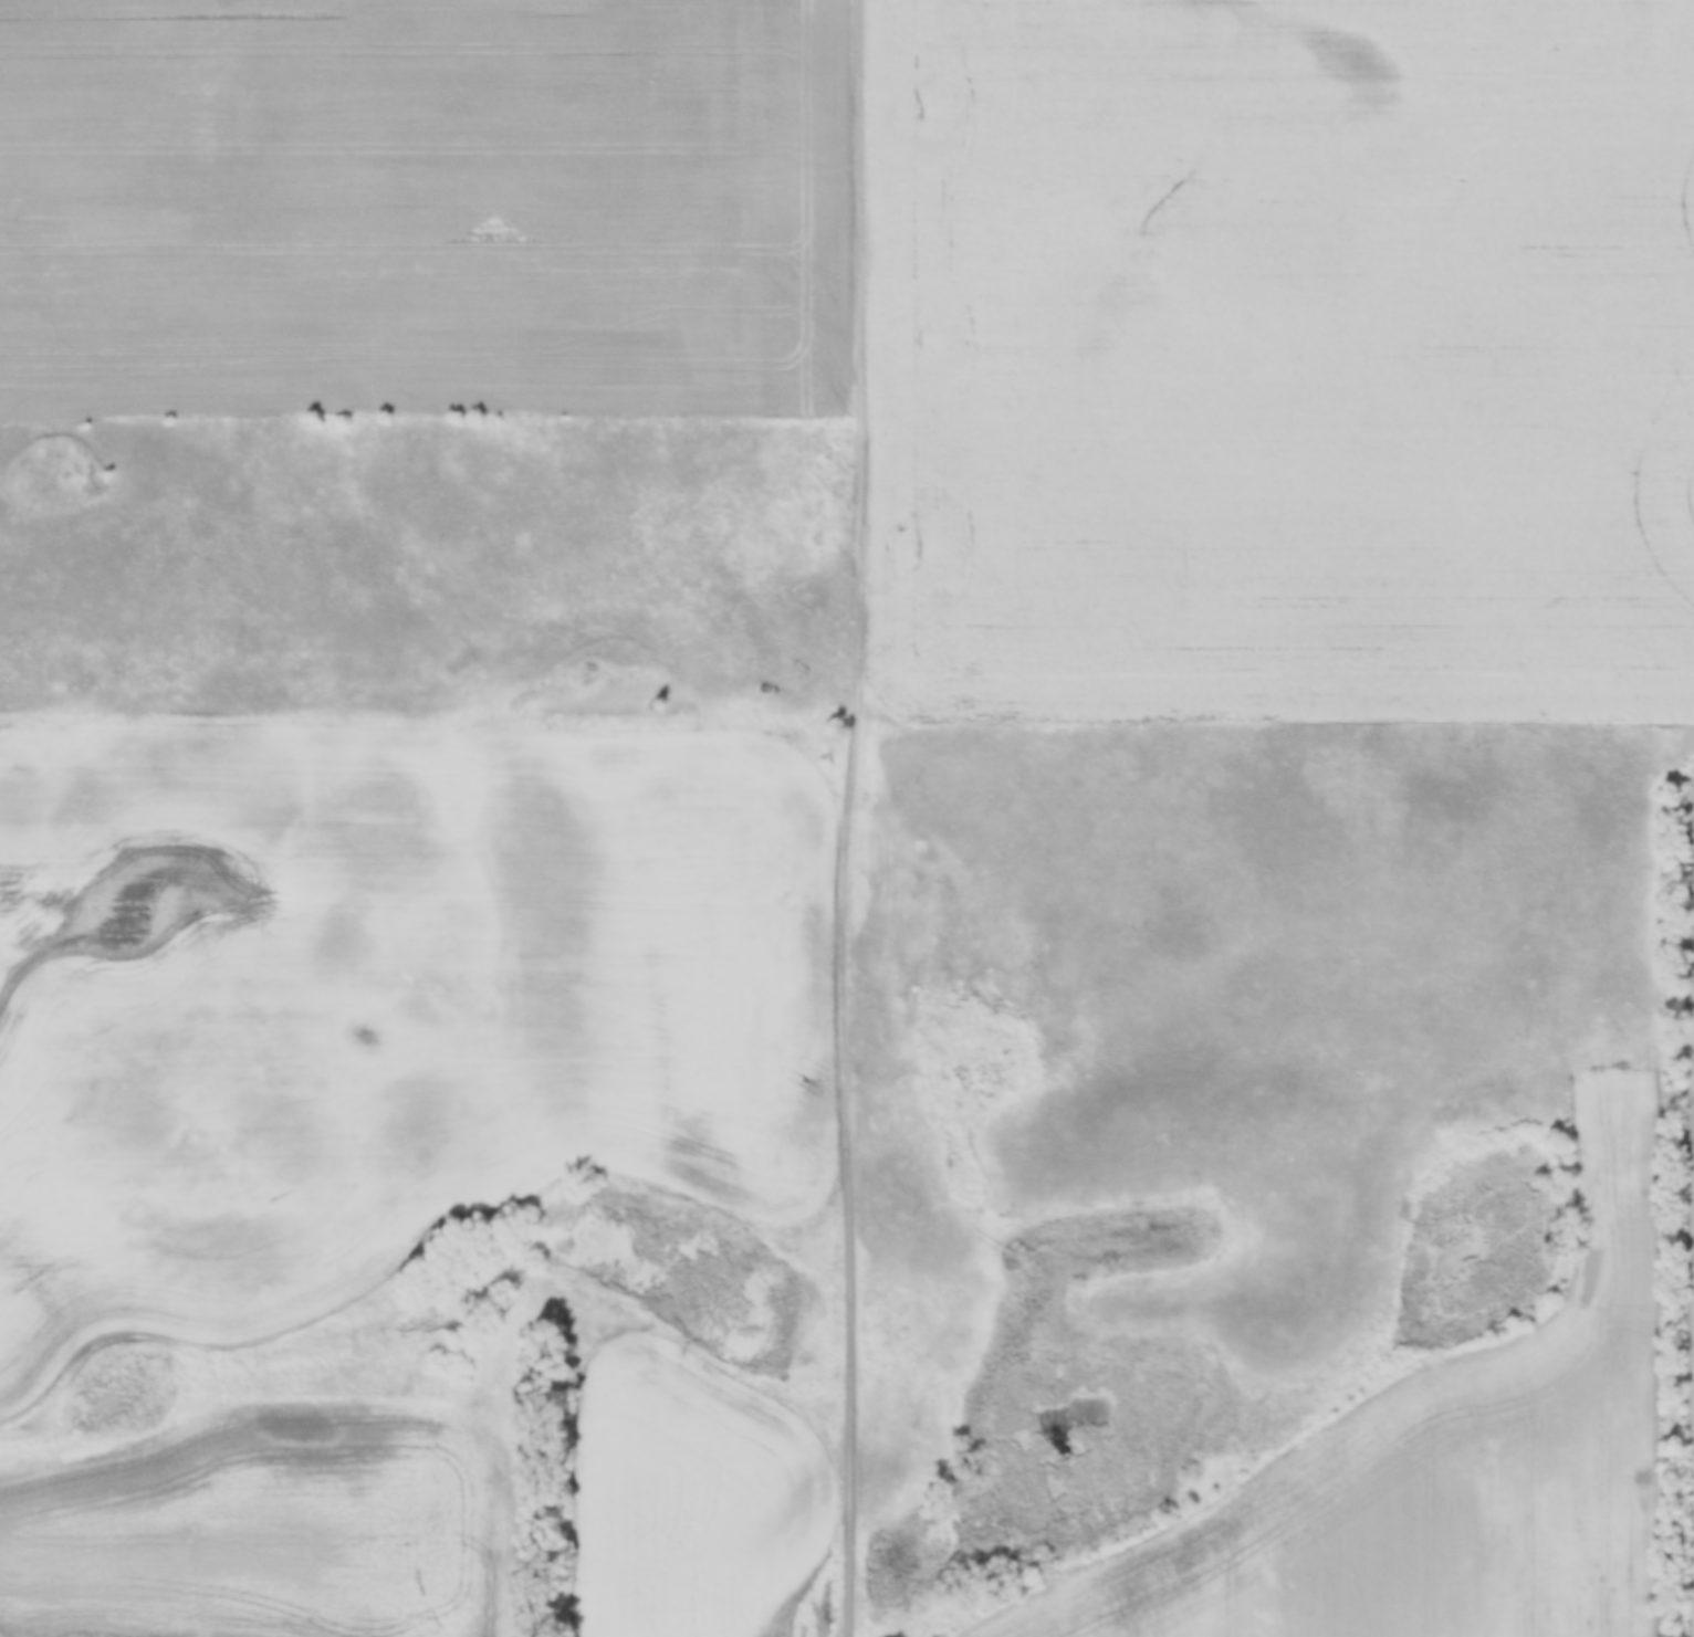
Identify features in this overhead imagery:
road: (431, 408)
road: (850, 818)

